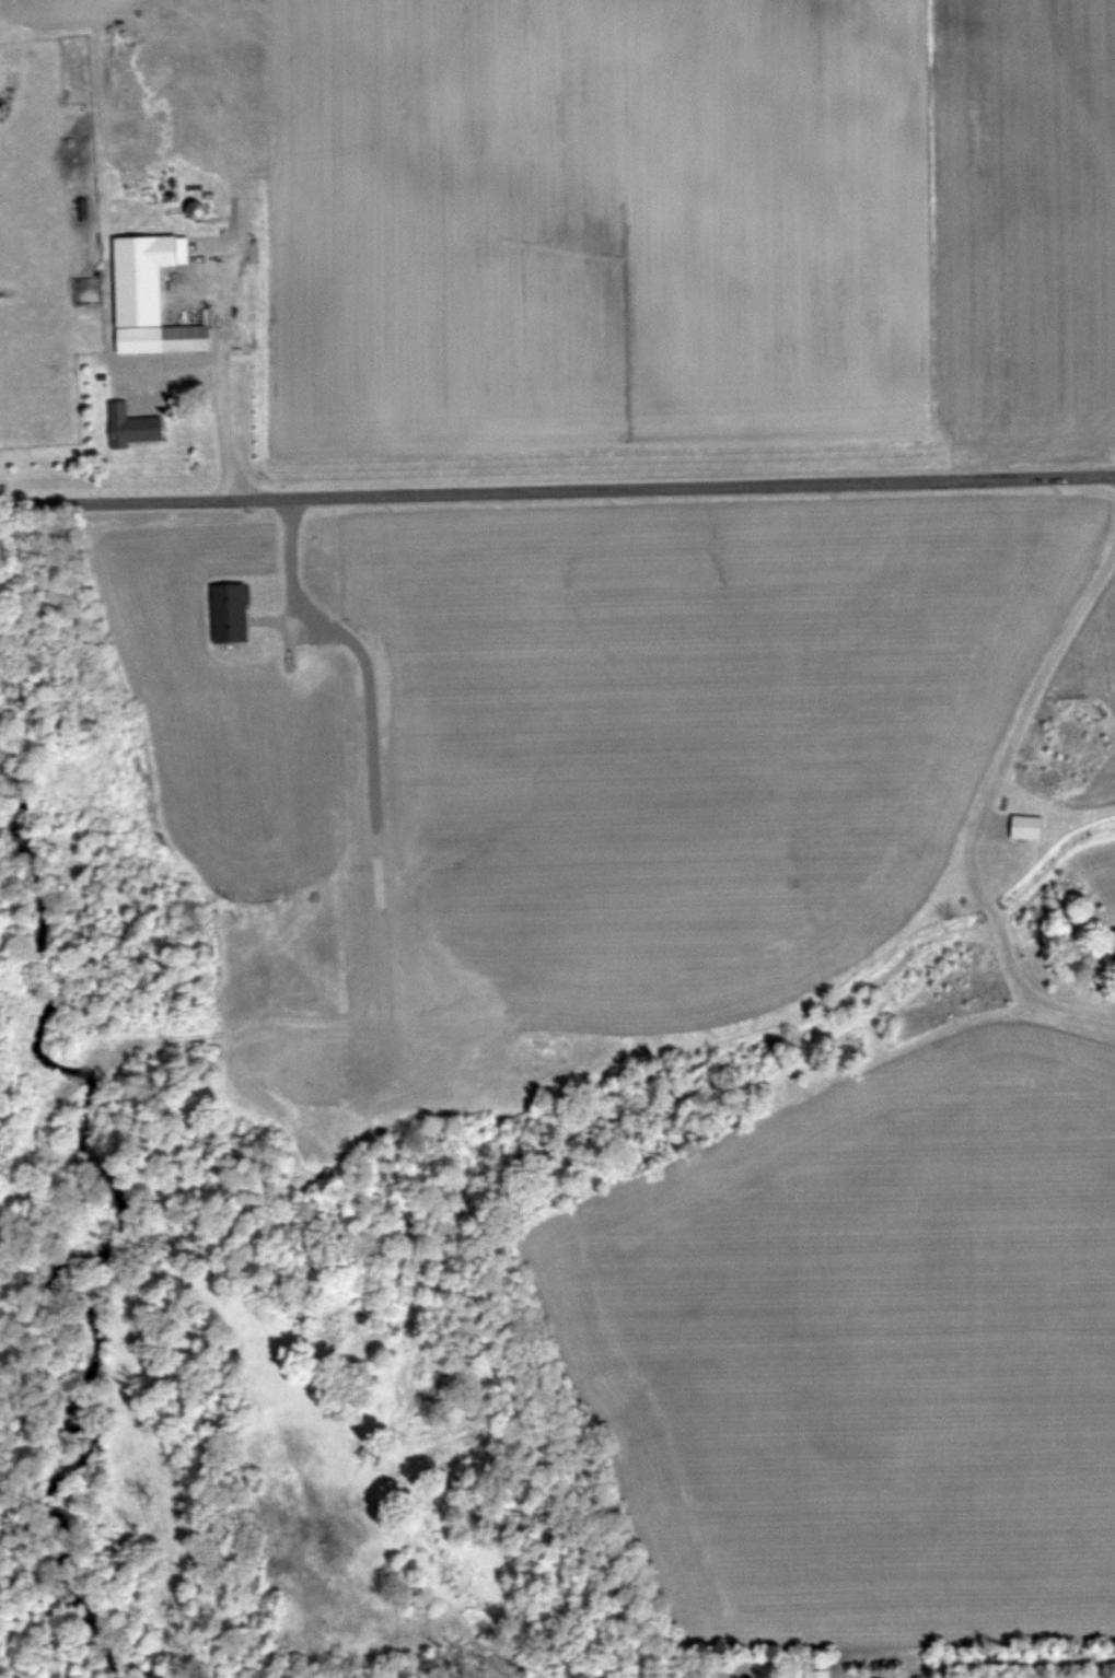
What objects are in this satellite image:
building: (196, 209)
building: (163, 338)
road: (221, 384)
building: (136, 428)
road: (557, 491)
building: (230, 613)
road: (1038, 674)
building: (1026, 827)
road: (1010, 1662)
building: (817, 1673)

